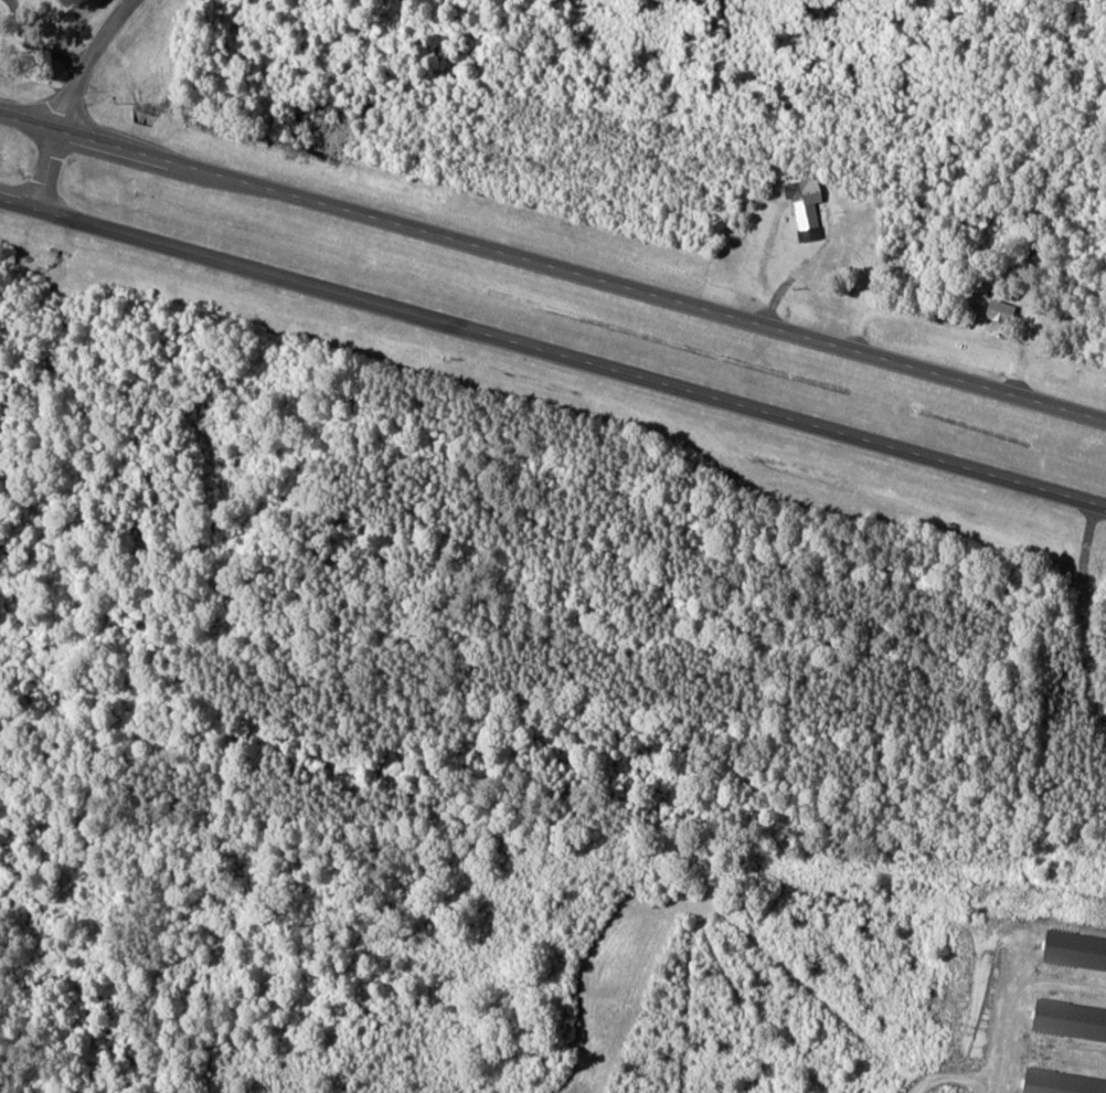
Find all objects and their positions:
road: (71, 98)
building: (806, 206)
road: (553, 268)
building: (1001, 310)
road: (553, 353)
building: (1076, 951)
building: (1070, 1022)
building: (1062, 1083)

